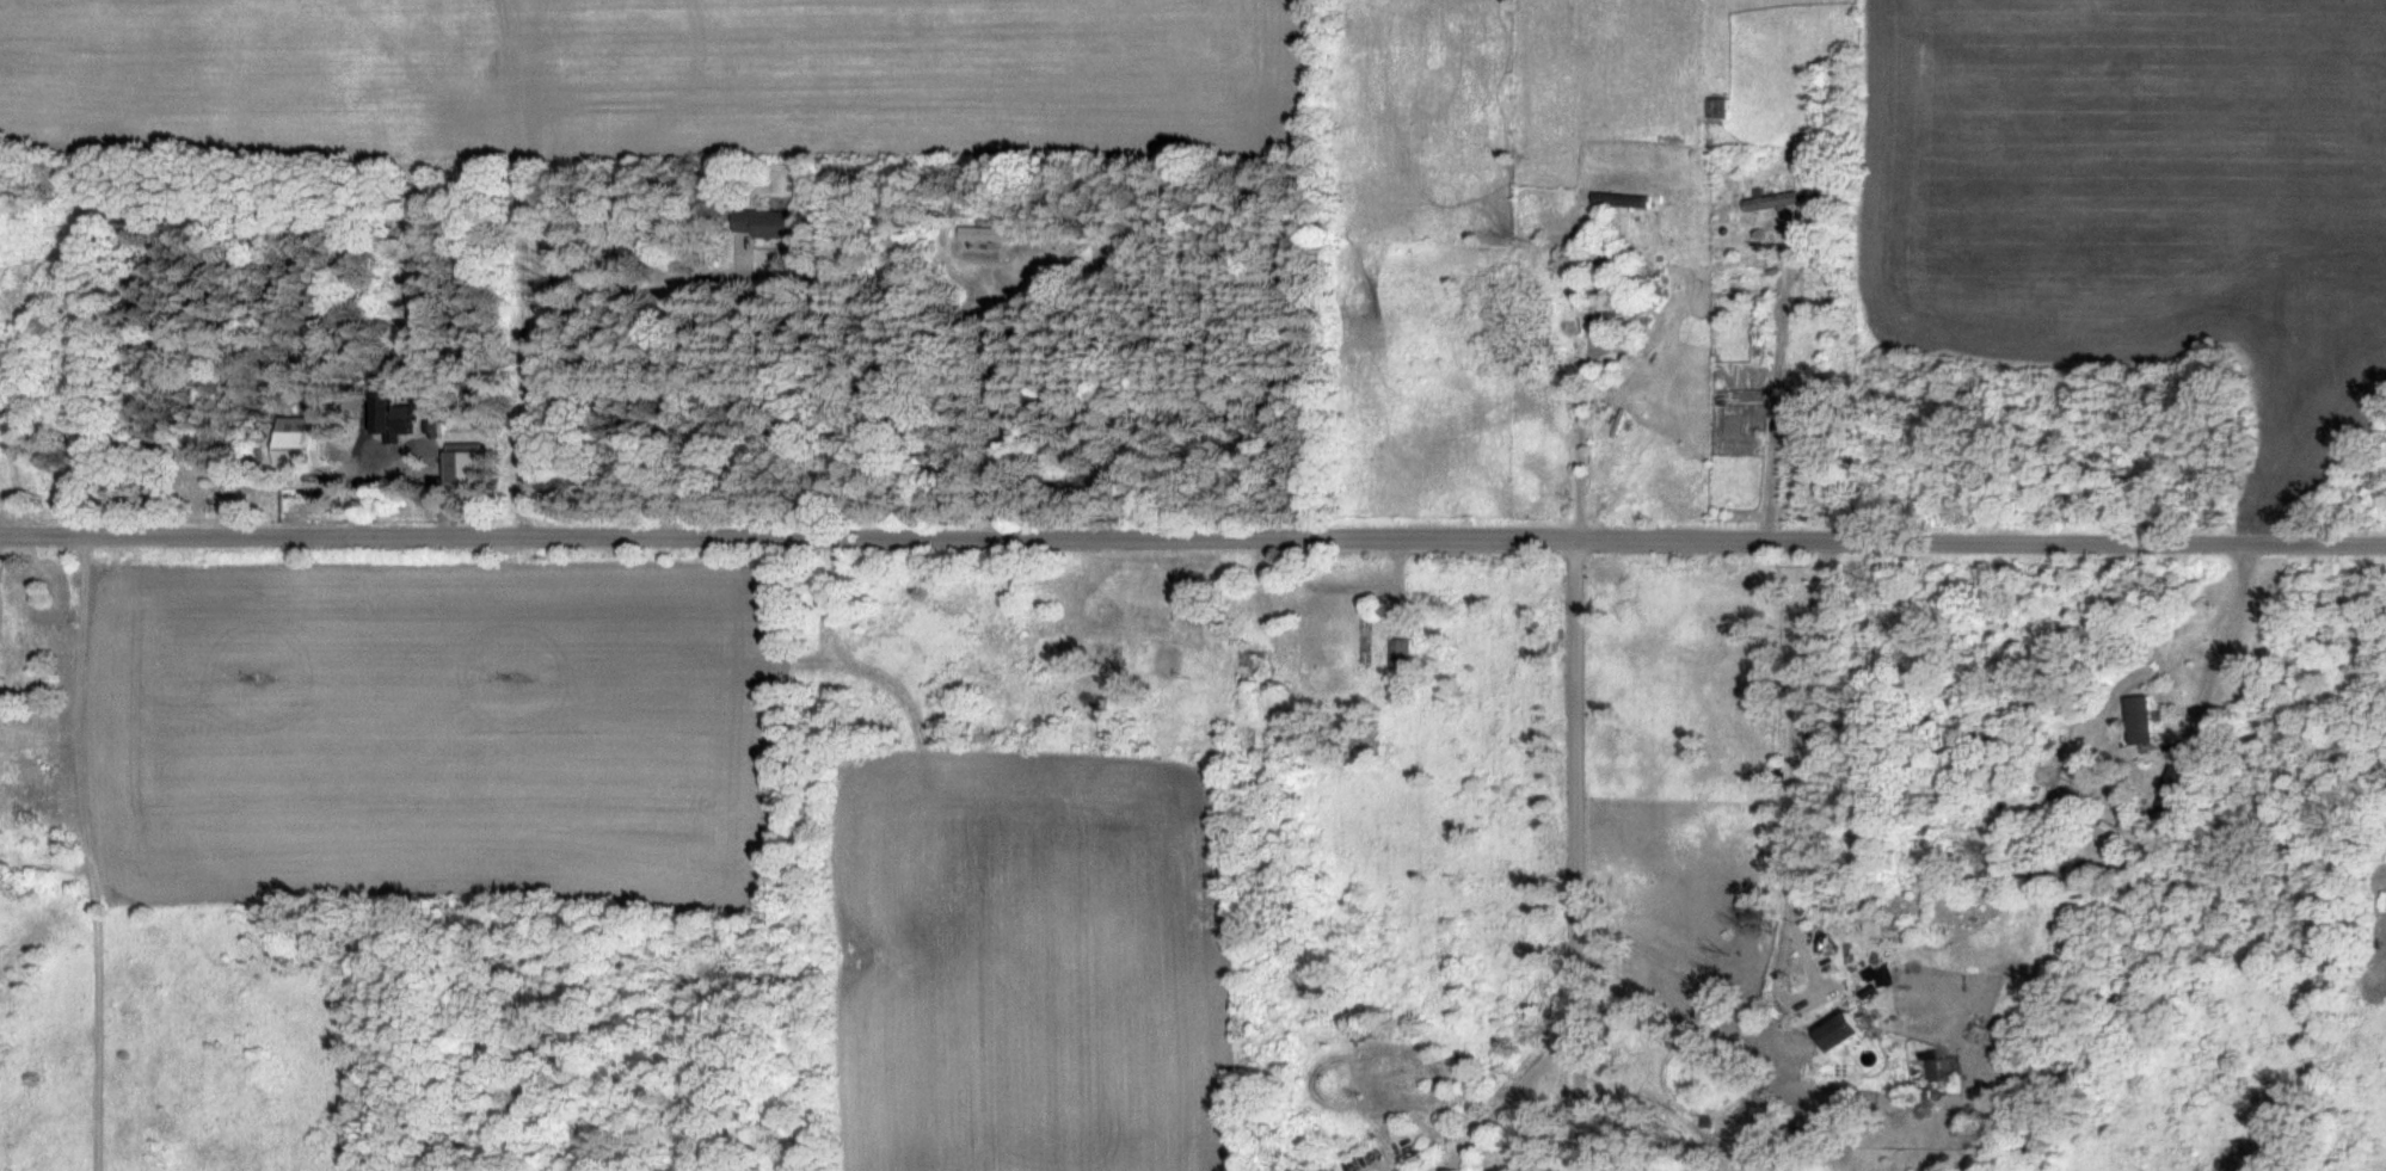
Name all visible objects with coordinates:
building: (1772, 201)
building: (770, 222)
building: (984, 238)
building: (1611, 259)
building: (1609, 307)
building: (1798, 415)
road: (927, 532)
road: (2120, 537)
building: (1398, 654)
building: (1250, 666)
building: (2145, 720)
building: (30, 776)
building: (2179, 779)
road: (1575, 851)
building: (1820, 932)
building: (1849, 1031)
building: (1935, 1071)
road: (1506, 1095)

